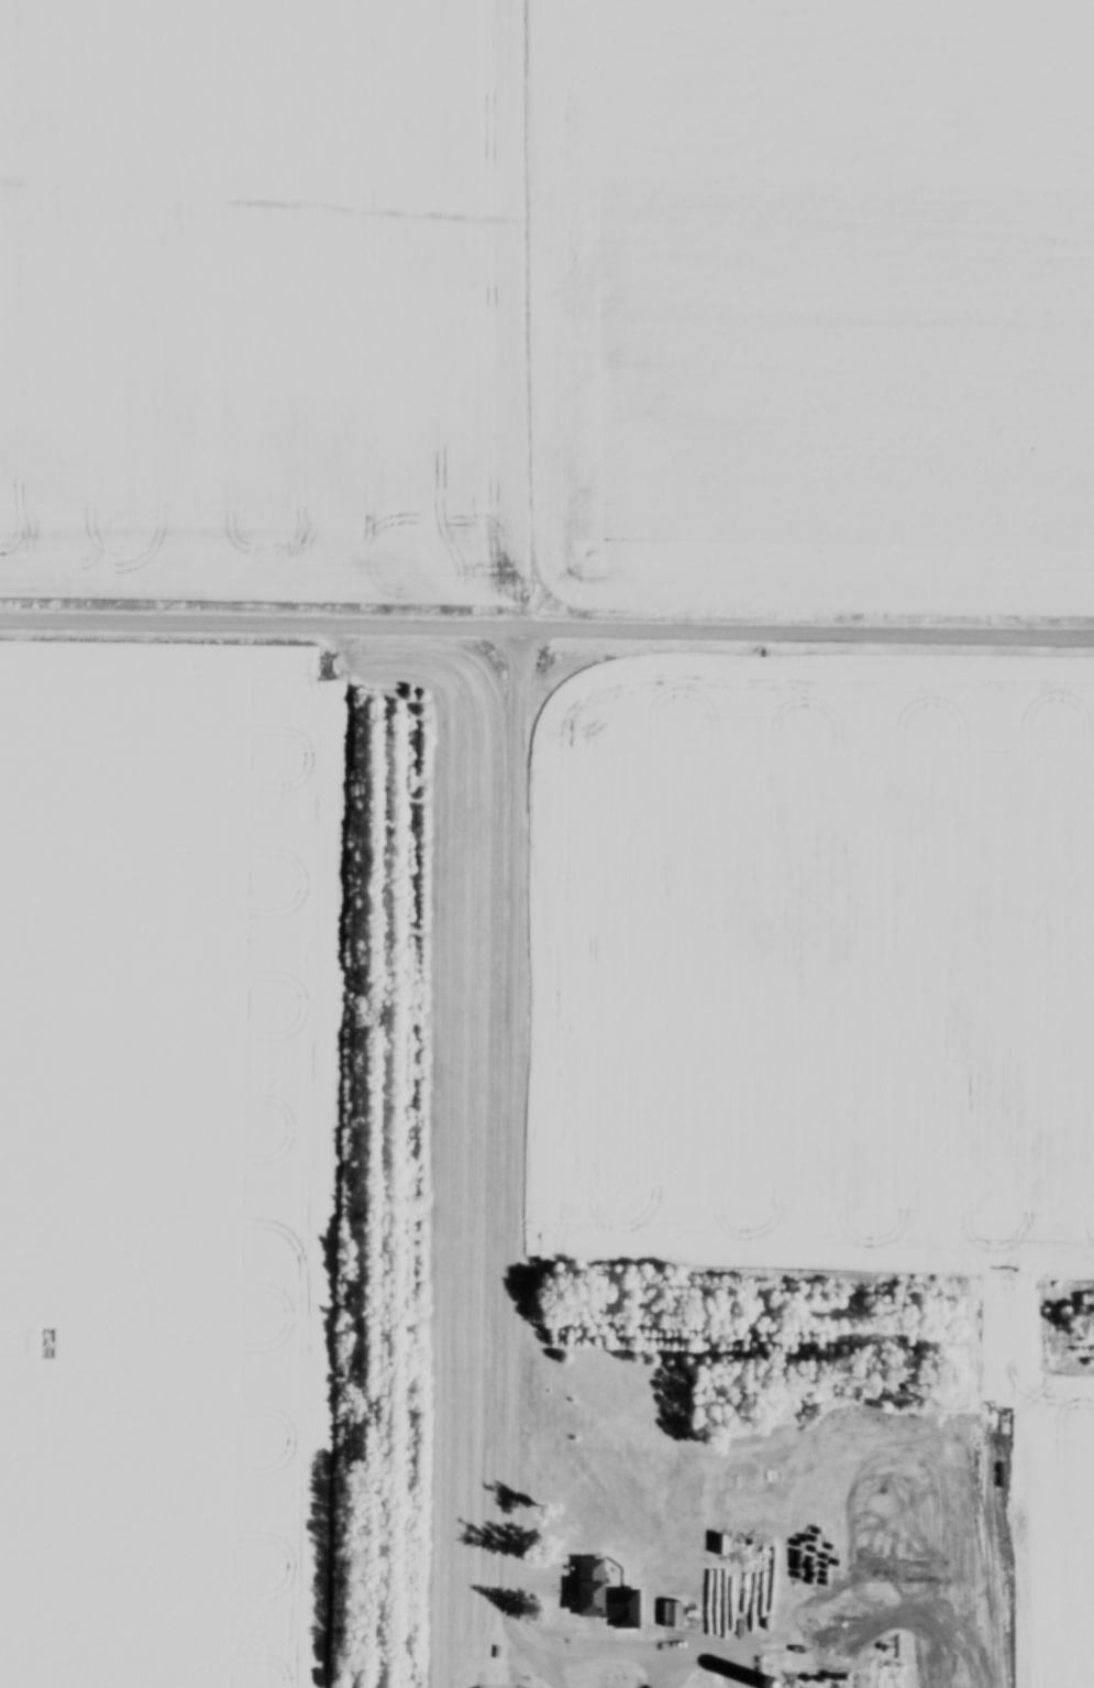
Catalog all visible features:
road: (546, 628)
road: (508, 1144)
building: (605, 1598)
building: (672, 1616)
building: (826, 1638)
road: (608, 1651)
road: (543, 1670)

